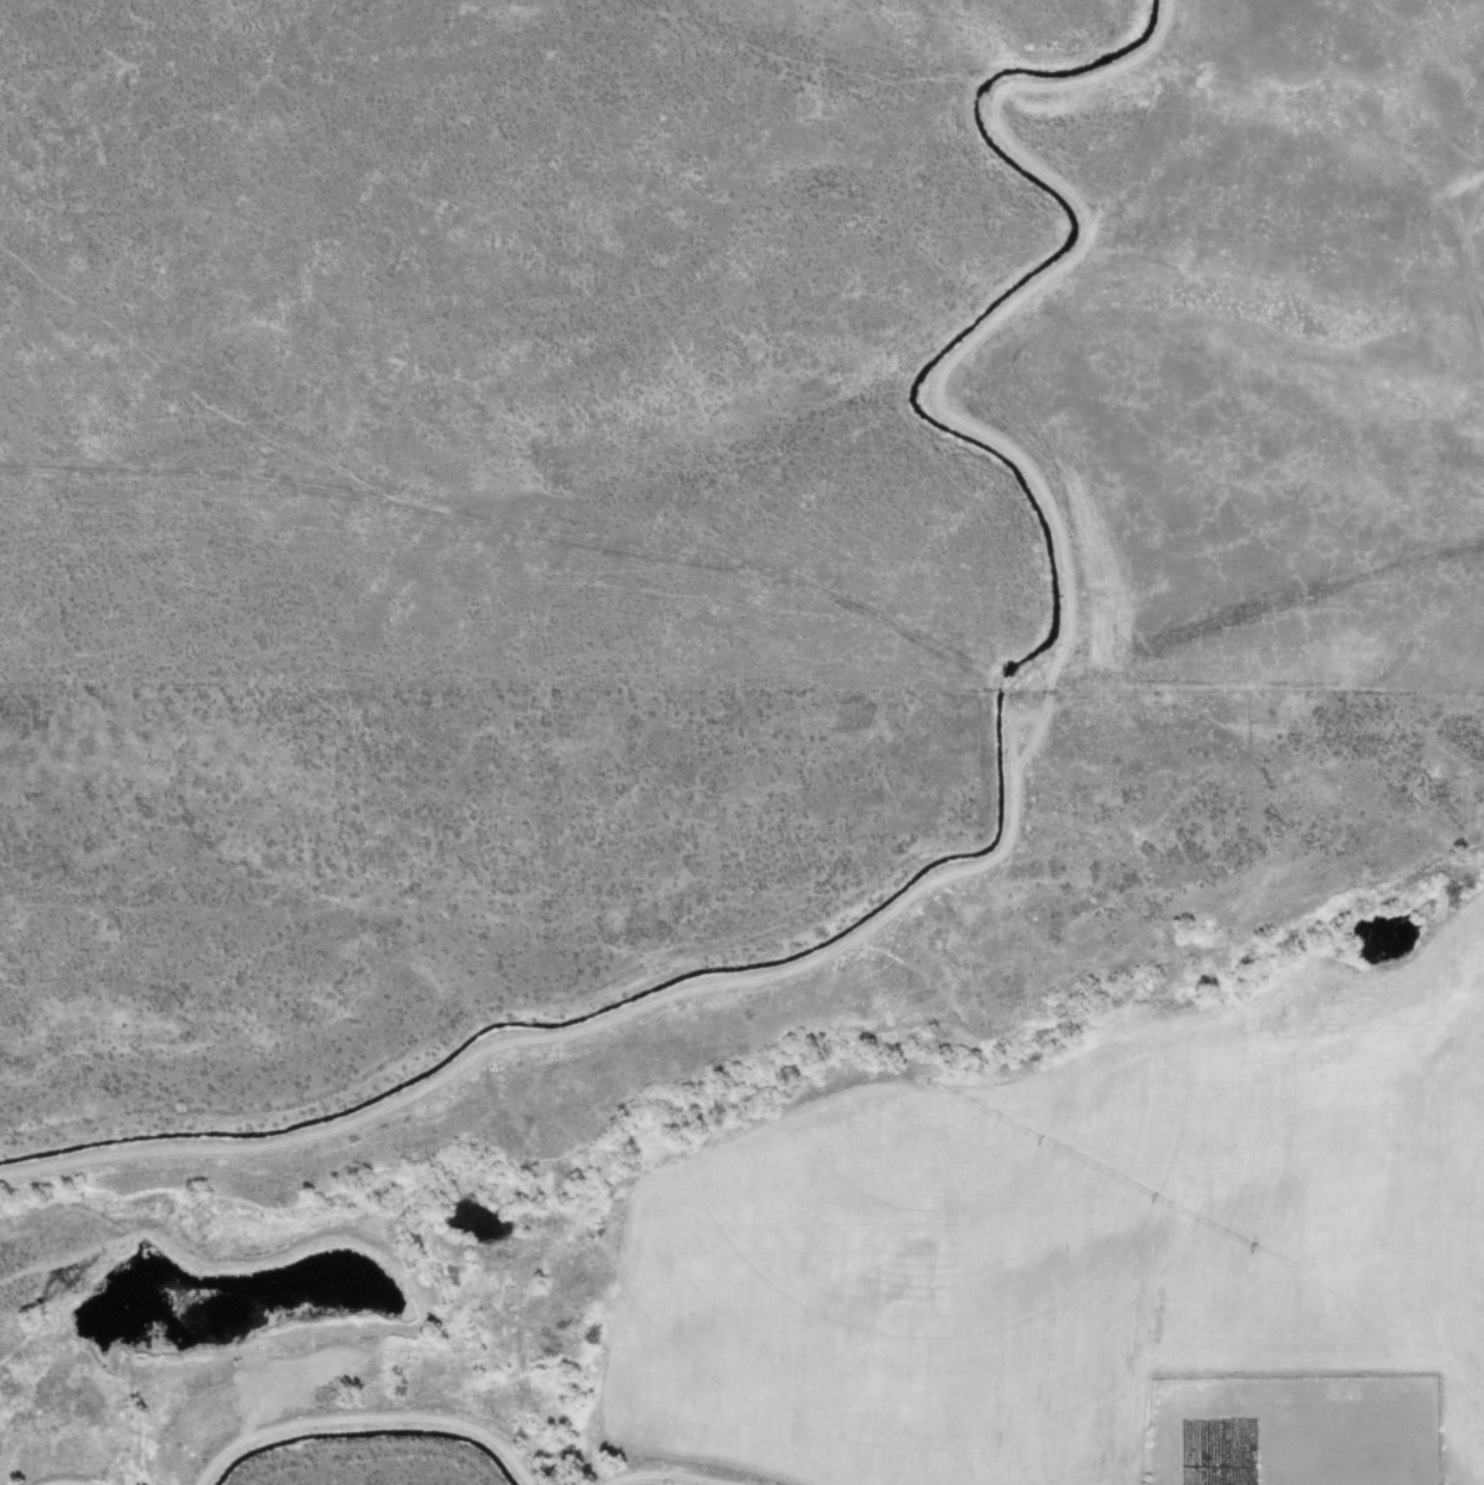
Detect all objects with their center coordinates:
road: (368, 1419)
road: (671, 1476)
road: (68, 1484)

